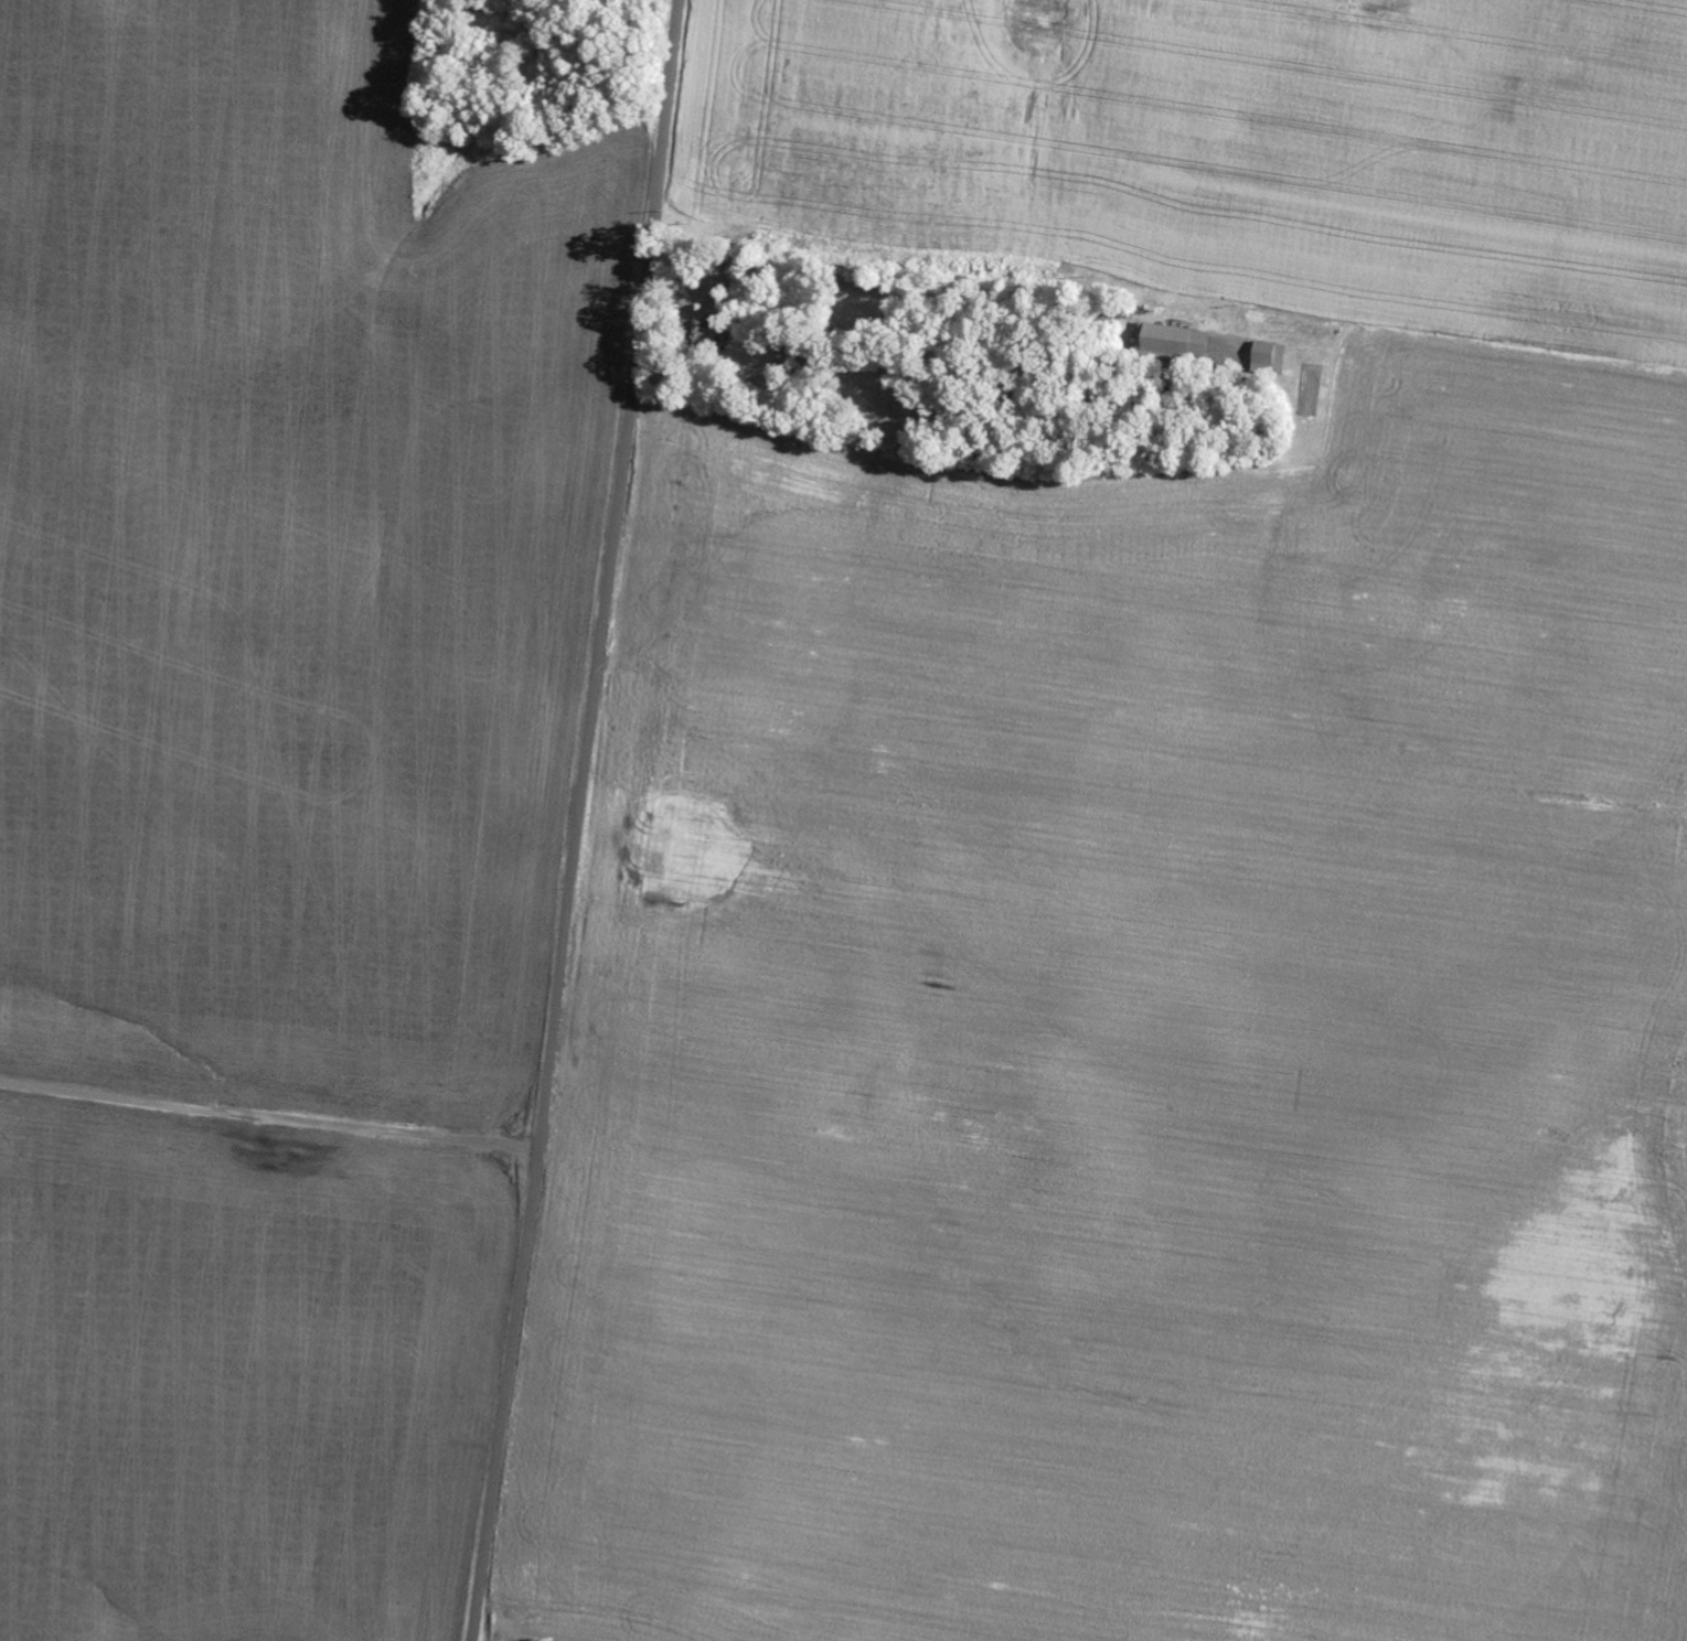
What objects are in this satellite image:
road: (1649, 4)
building: (704, 334)
building: (1174, 342)
road: (577, 820)
road: (267, 1129)
road: (261, 1233)

